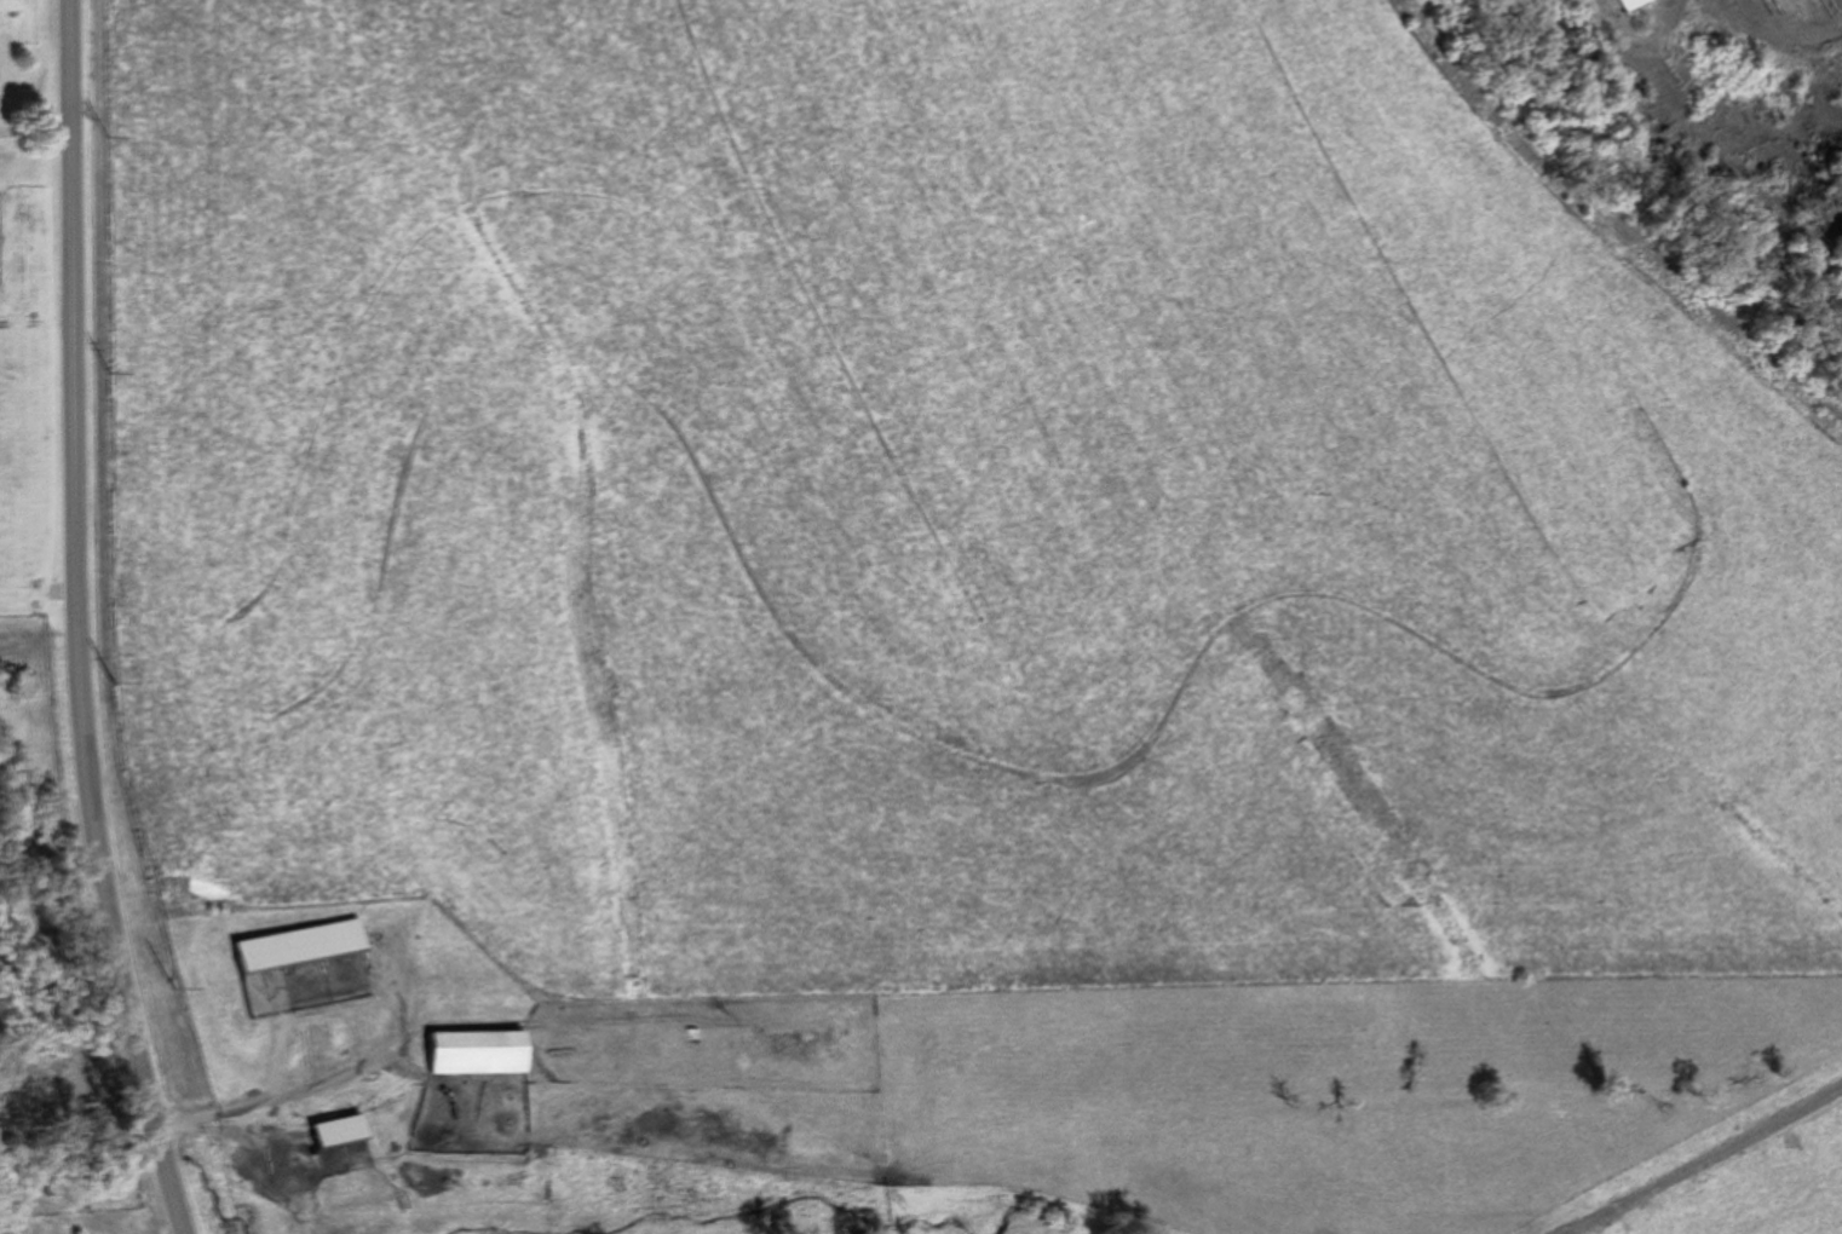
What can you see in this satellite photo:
building: (1627, 2)
road: (77, 622)
building: (467, 981)
building: (482, 1053)
building: (343, 1131)

